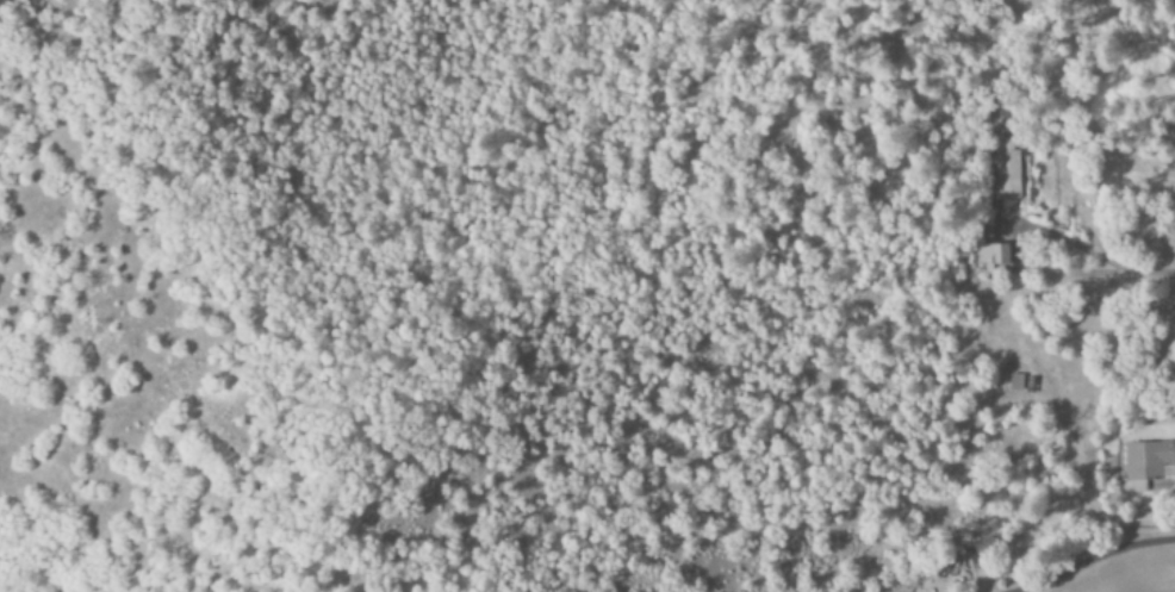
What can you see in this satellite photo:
building: (1007, 170)
building: (991, 257)
building: (1015, 382)
building: (1145, 465)

